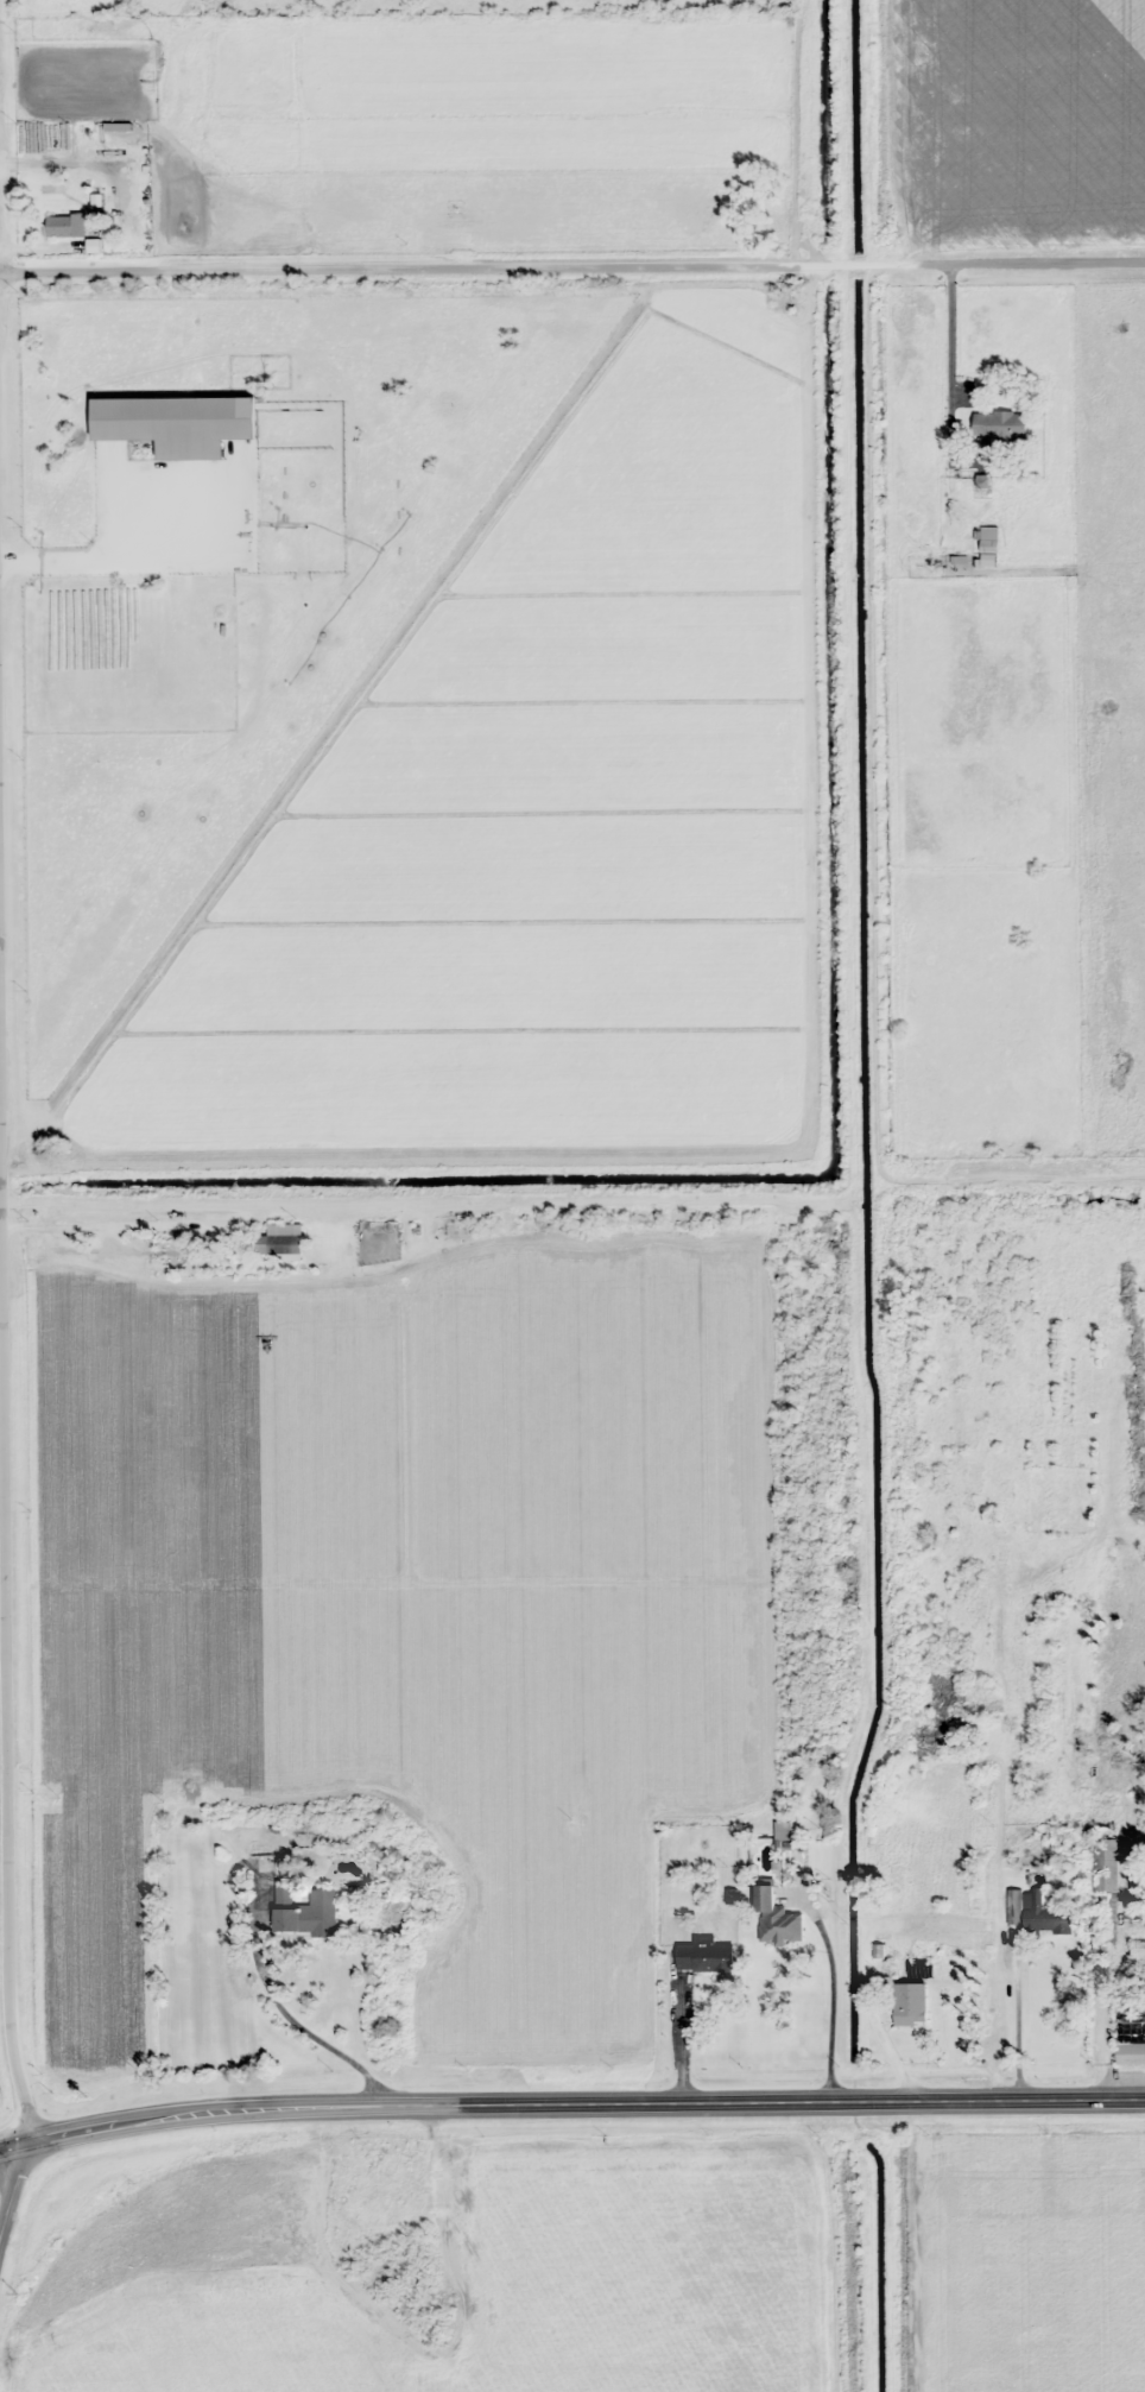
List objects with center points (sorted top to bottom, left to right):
building: (456, 212)
building: (64, 226)
road: (572, 255)
building: (176, 423)
building: (999, 424)
building: (988, 539)
building: (284, 1238)
building: (782, 1831)
road: (6, 1858)
building: (1102, 1874)
building: (304, 1912)
building: (1036, 1913)
building: (776, 1923)
building: (1107, 1926)
building: (704, 1956)
building: (878, 1957)
building: (910, 2005)
building: (1130, 2051)
road: (570, 2104)
road: (11, 2190)

